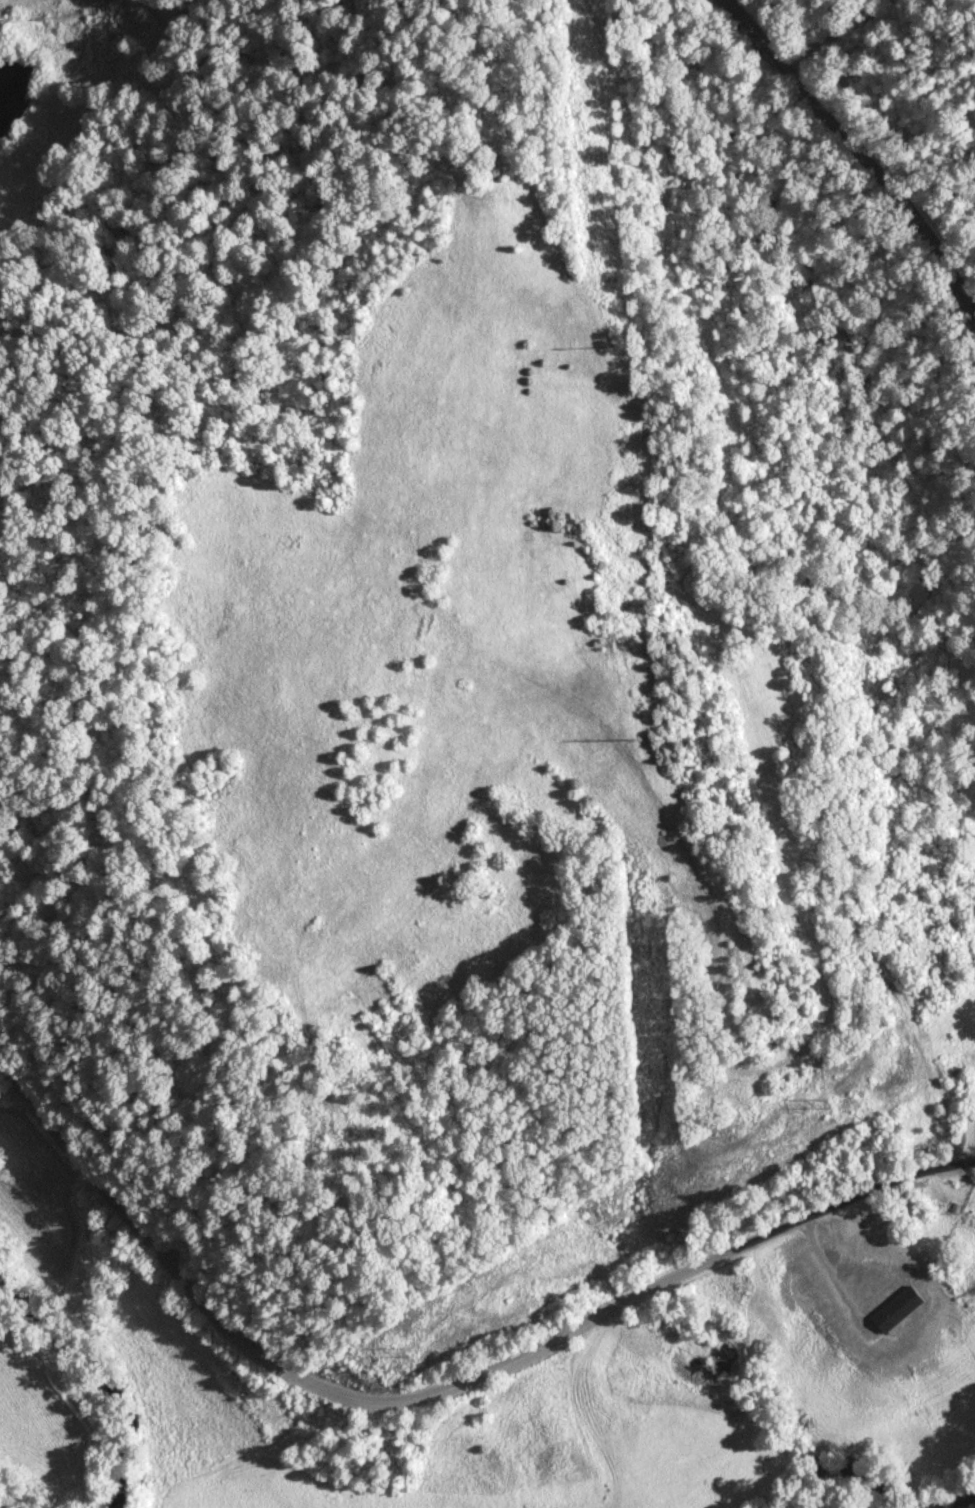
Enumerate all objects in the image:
road: (834, 32)
road: (858, 156)
power tower: (636, 740)
power tower: (833, 1103)
building: (965, 1129)
power tower: (406, 1354)
river: (101, 1378)
road: (438, 1391)
river: (840, 1466)
river: (955, 1499)

